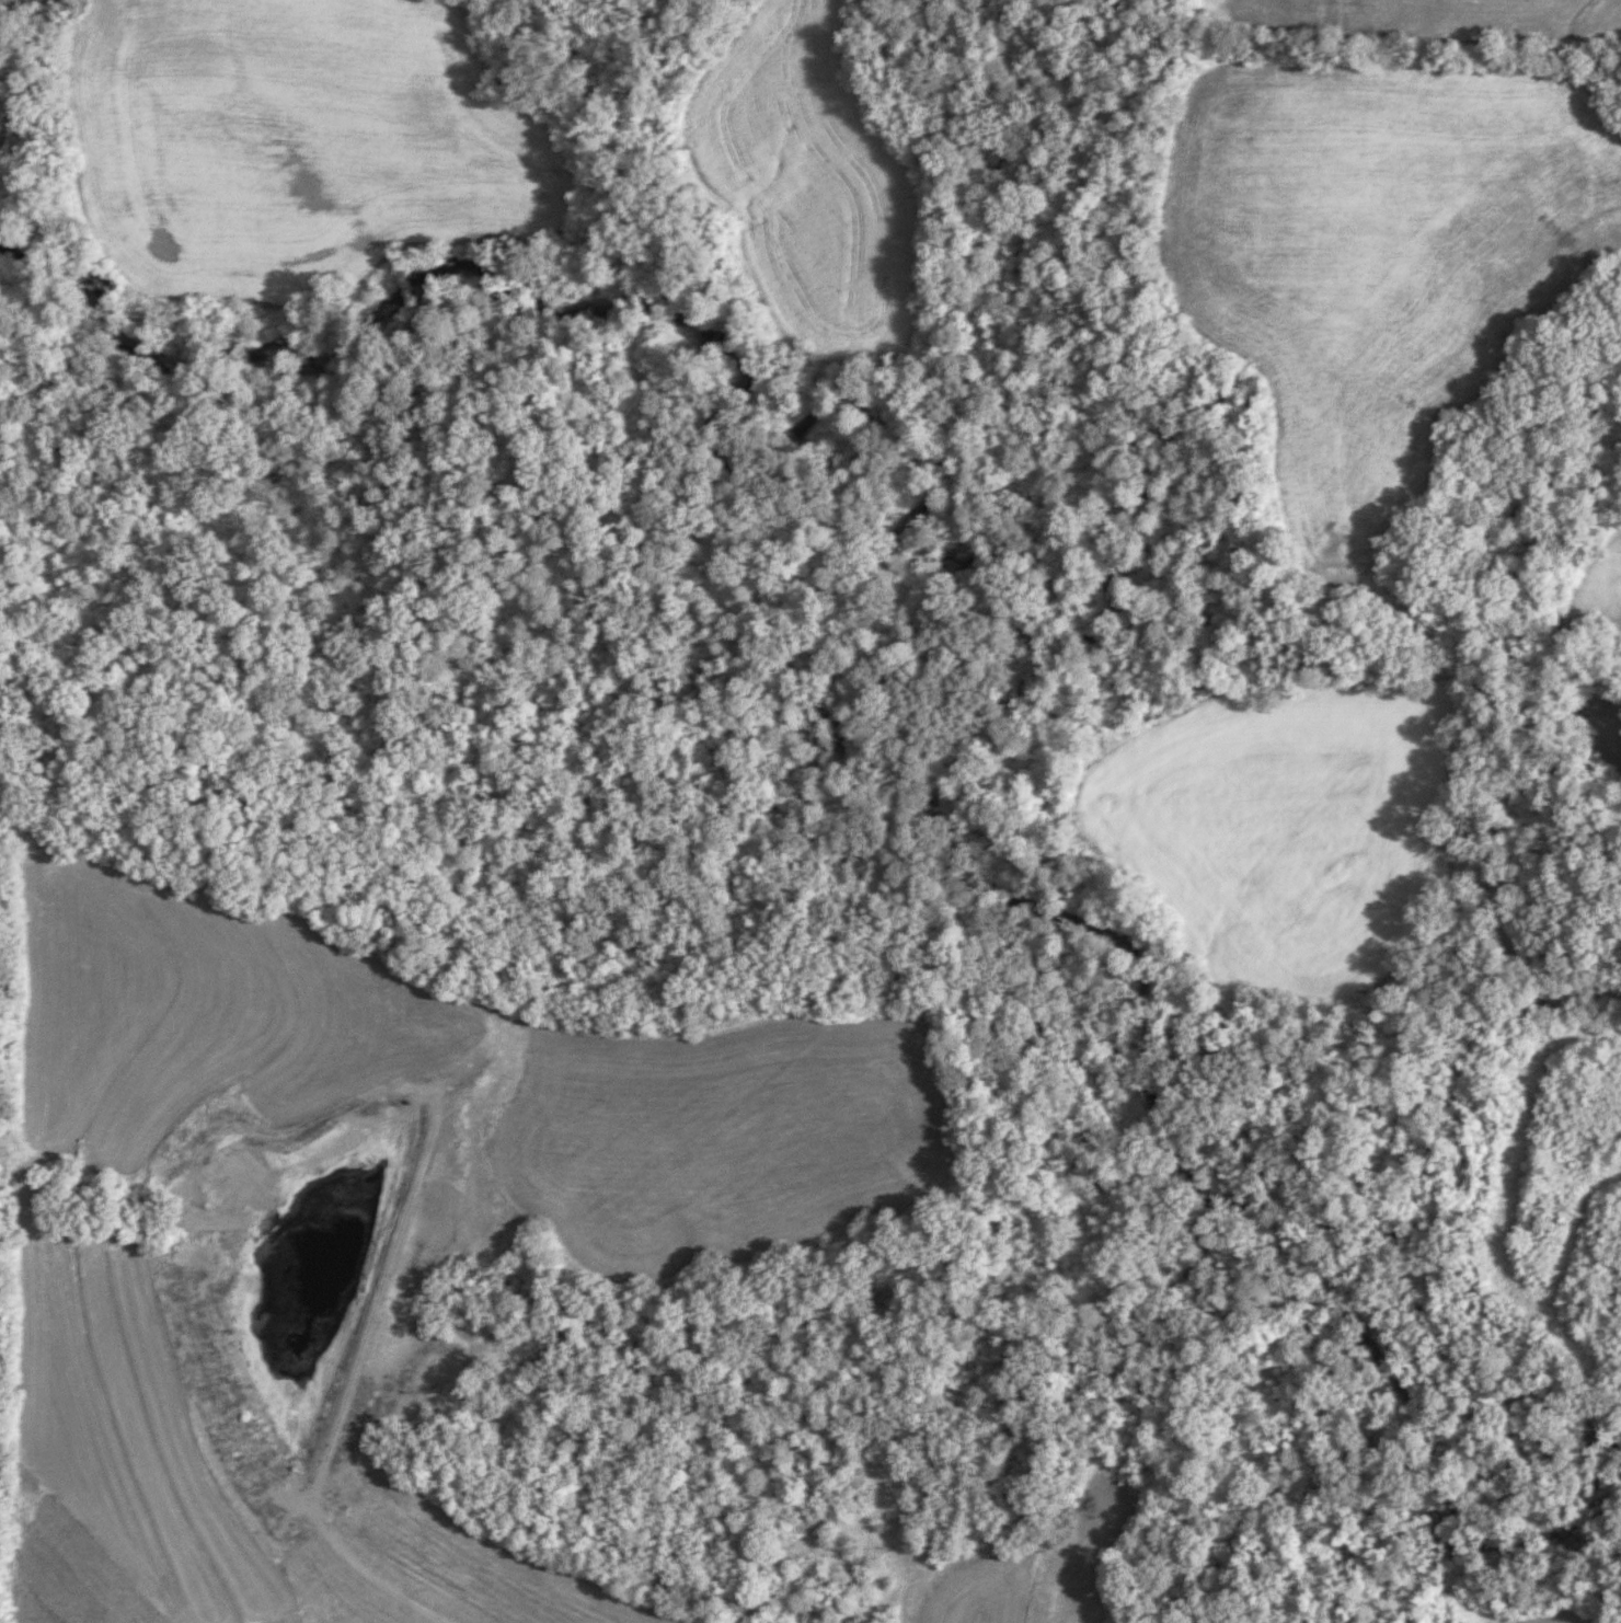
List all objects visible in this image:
building: (975, 1609)

